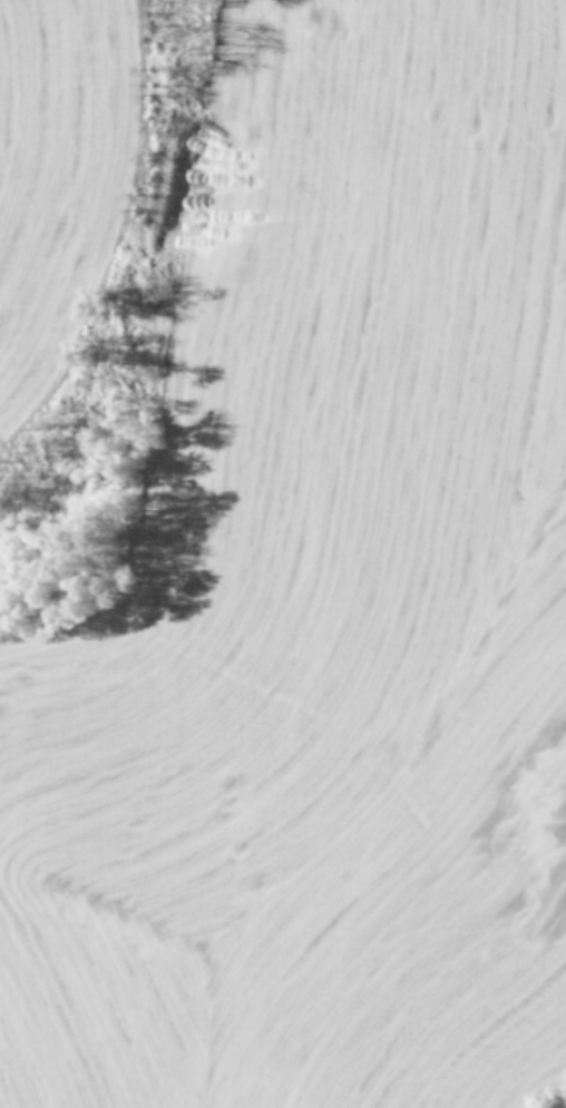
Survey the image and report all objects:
crop: (283, 553)

